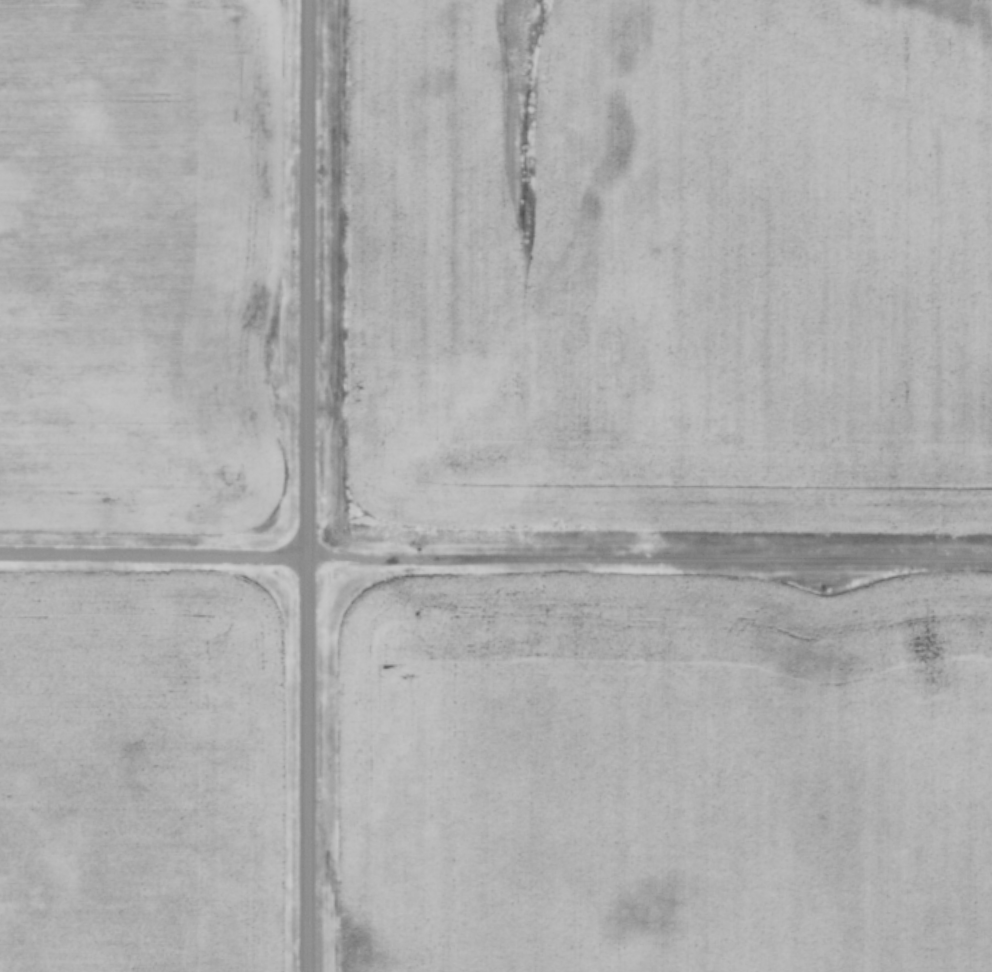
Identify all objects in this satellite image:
crop: (670, 258)
road: (313, 485)
road: (156, 546)
road: (652, 550)

